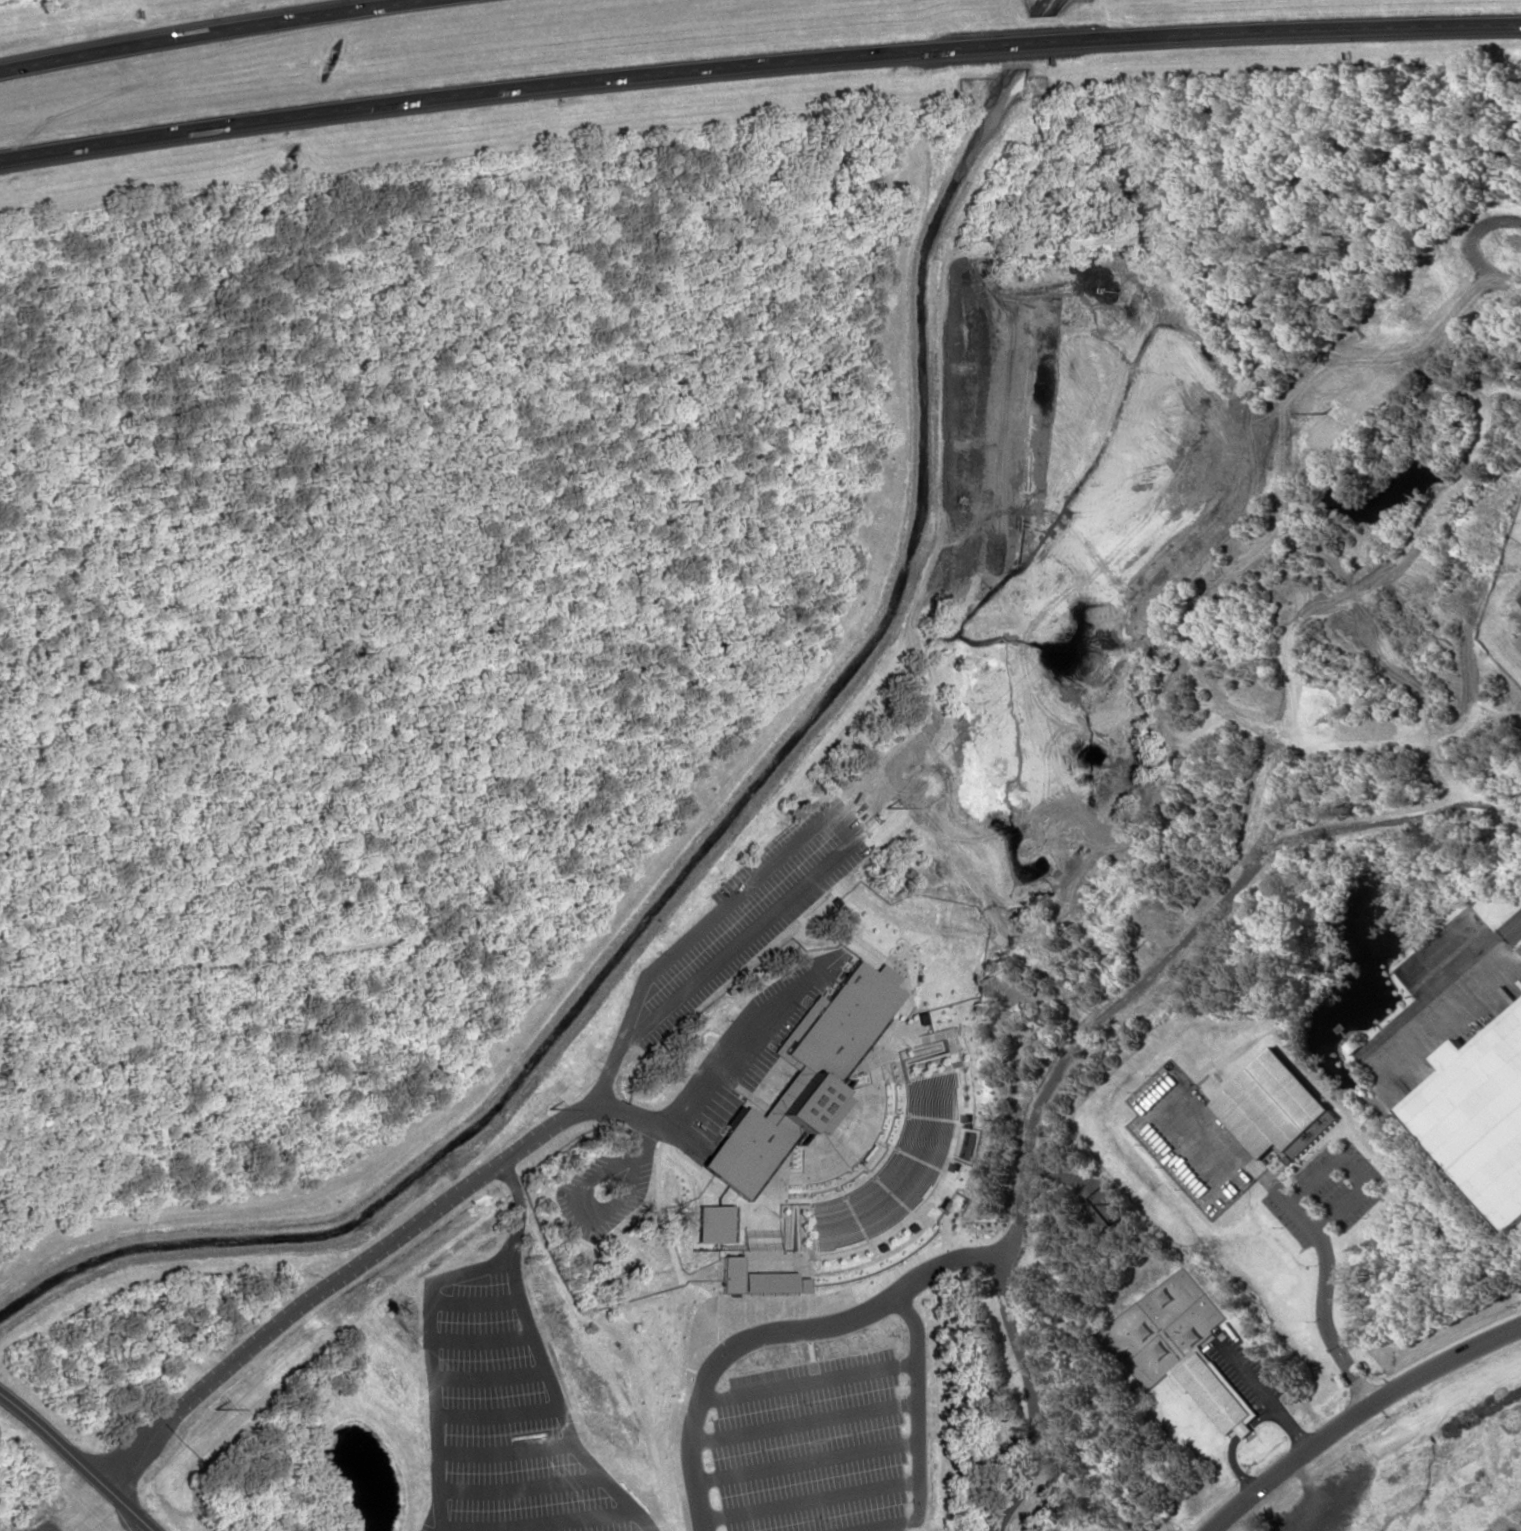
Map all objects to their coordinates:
road: (209, 31)
road: (757, 60)
power tower: (1321, 413)
power tower: (885, 805)
parking lot: (746, 917)
parking lot: (744, 1059)
building: (804, 1075)
building: (1271, 1103)
power tower: (549, 1106)
building: (1479, 1115)
building: (943, 1204)
building: (713, 1223)
building: (757, 1278)
building: (1214, 1391)
power tower: (213, 1408)
road: (1359, 1416)
parking lot: (505, 1439)
parking lot: (810, 1447)
road: (79, 1462)
parking lot: (1335, 1497)
parking lot: (41, 1525)

